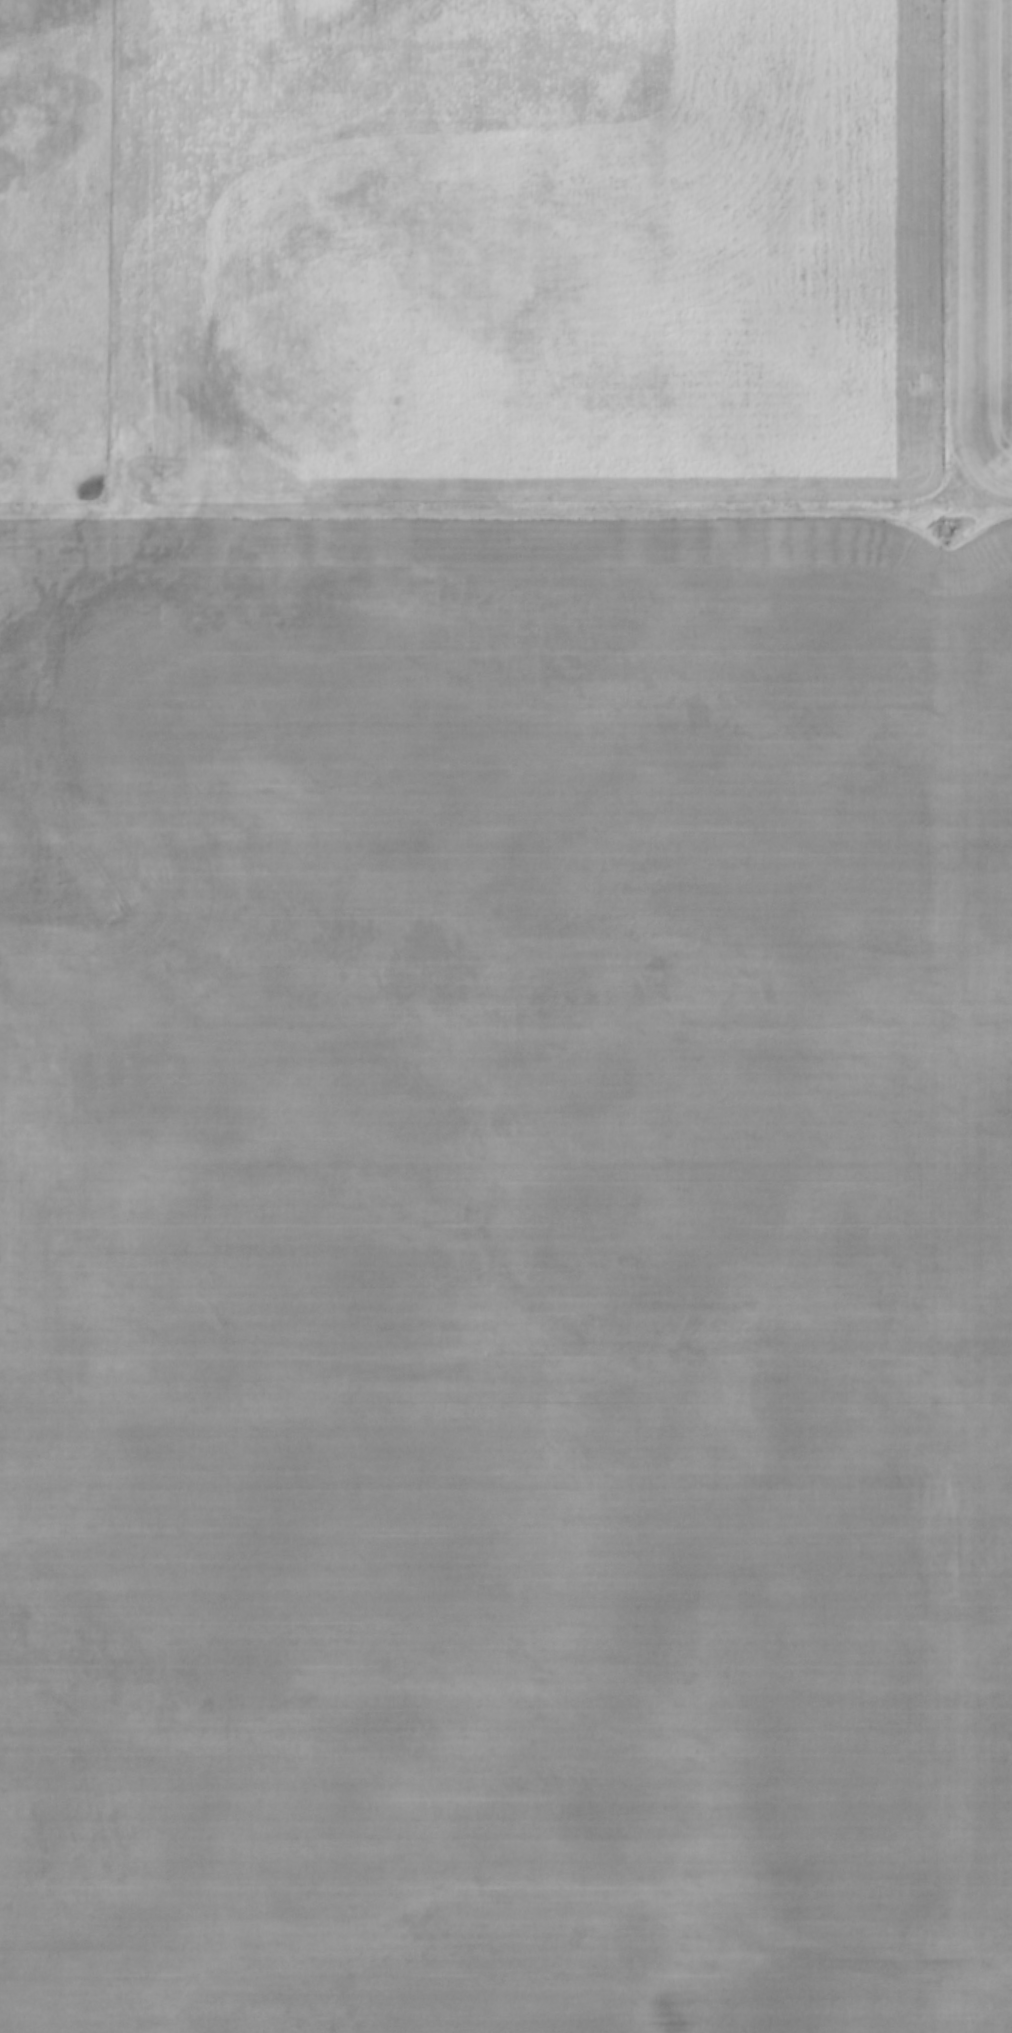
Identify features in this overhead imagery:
road: (506, 513)

